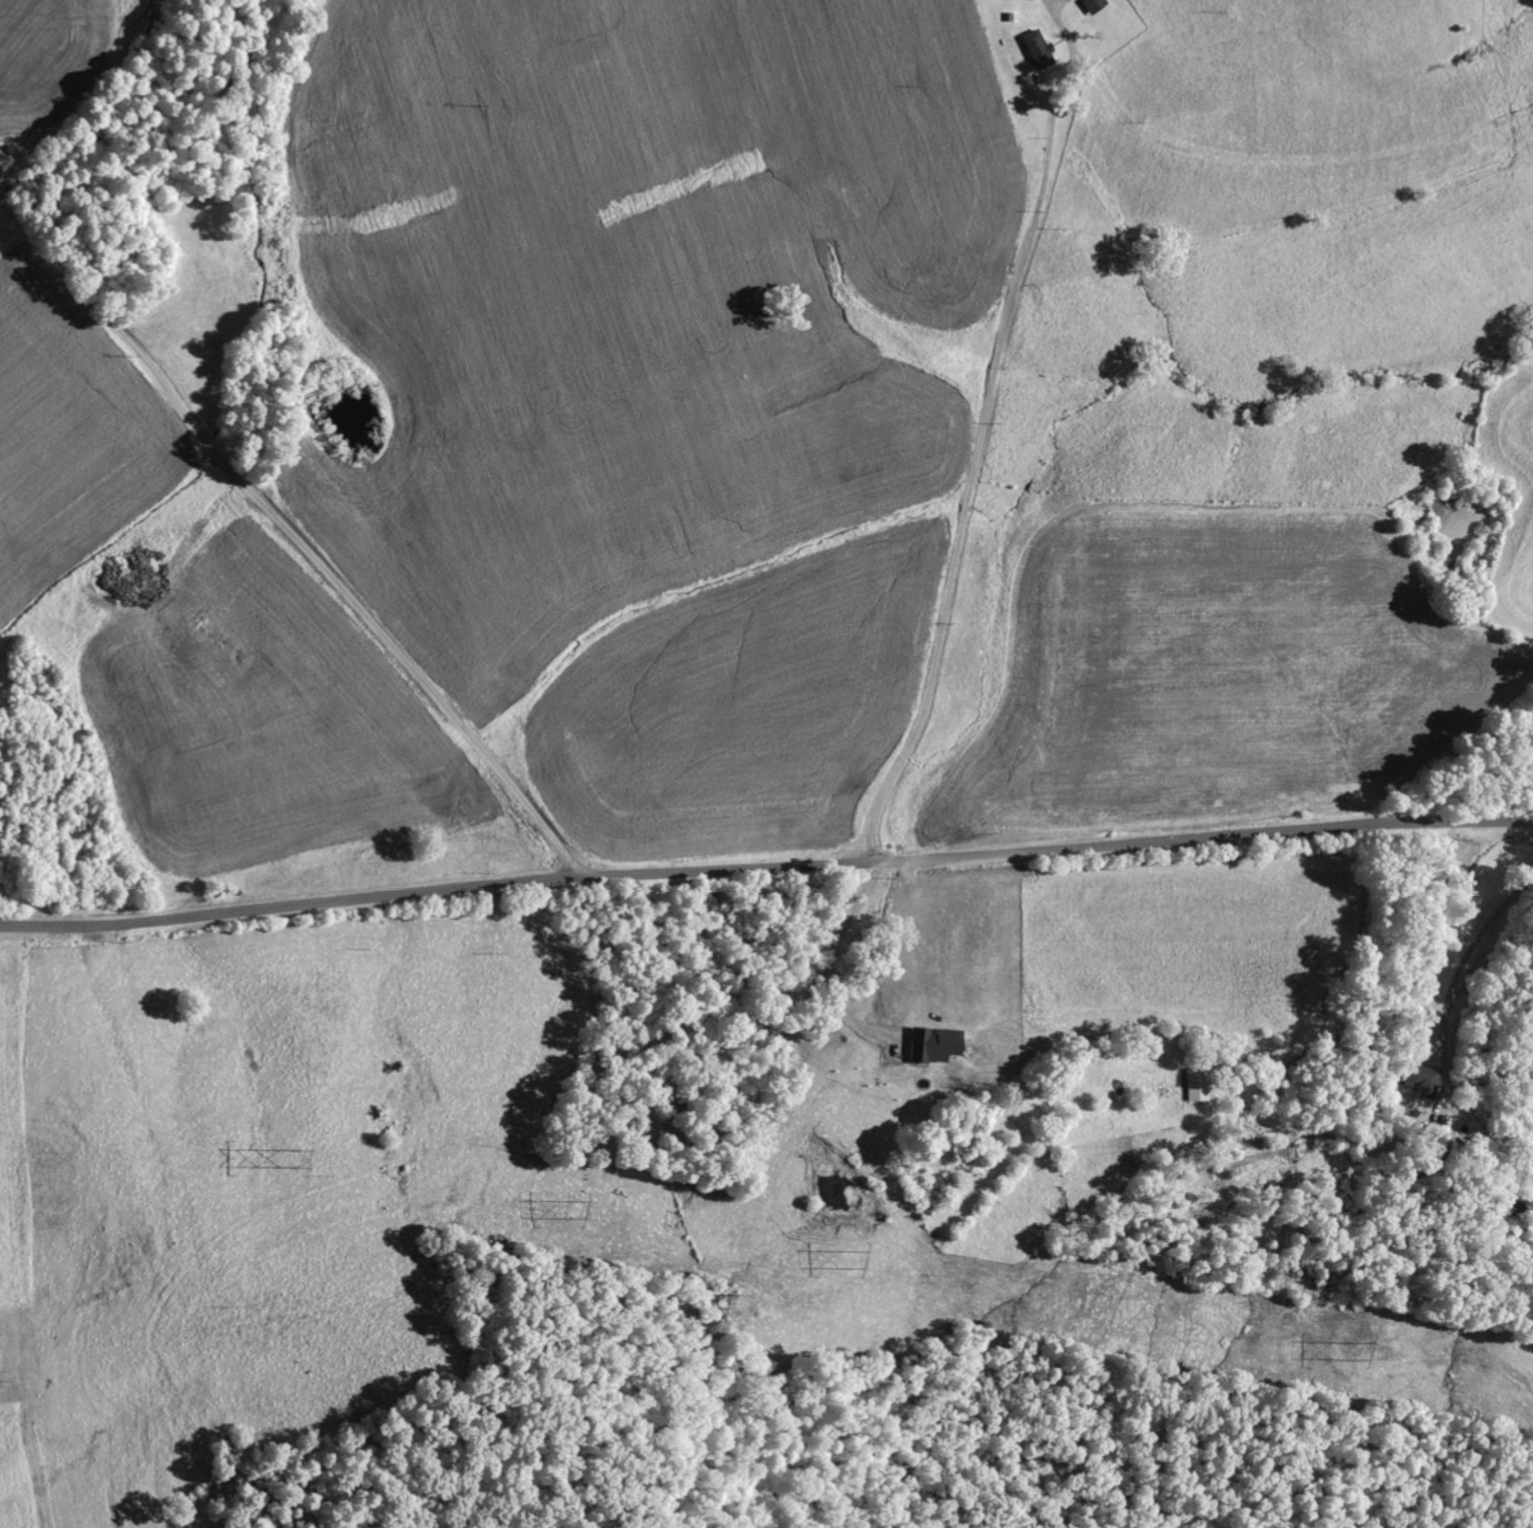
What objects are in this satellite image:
building: (1089, 5)
building: (1034, 49)
road: (1296, 144)
road: (976, 453)
road: (291, 532)
road: (765, 864)
road: (261, 1012)
building: (929, 1044)
road: (158, 1079)
building: (1417, 1080)
power tower: (293, 1156)
power tower: (570, 1207)
power tower: (847, 1258)
power tower: (1352, 1349)

